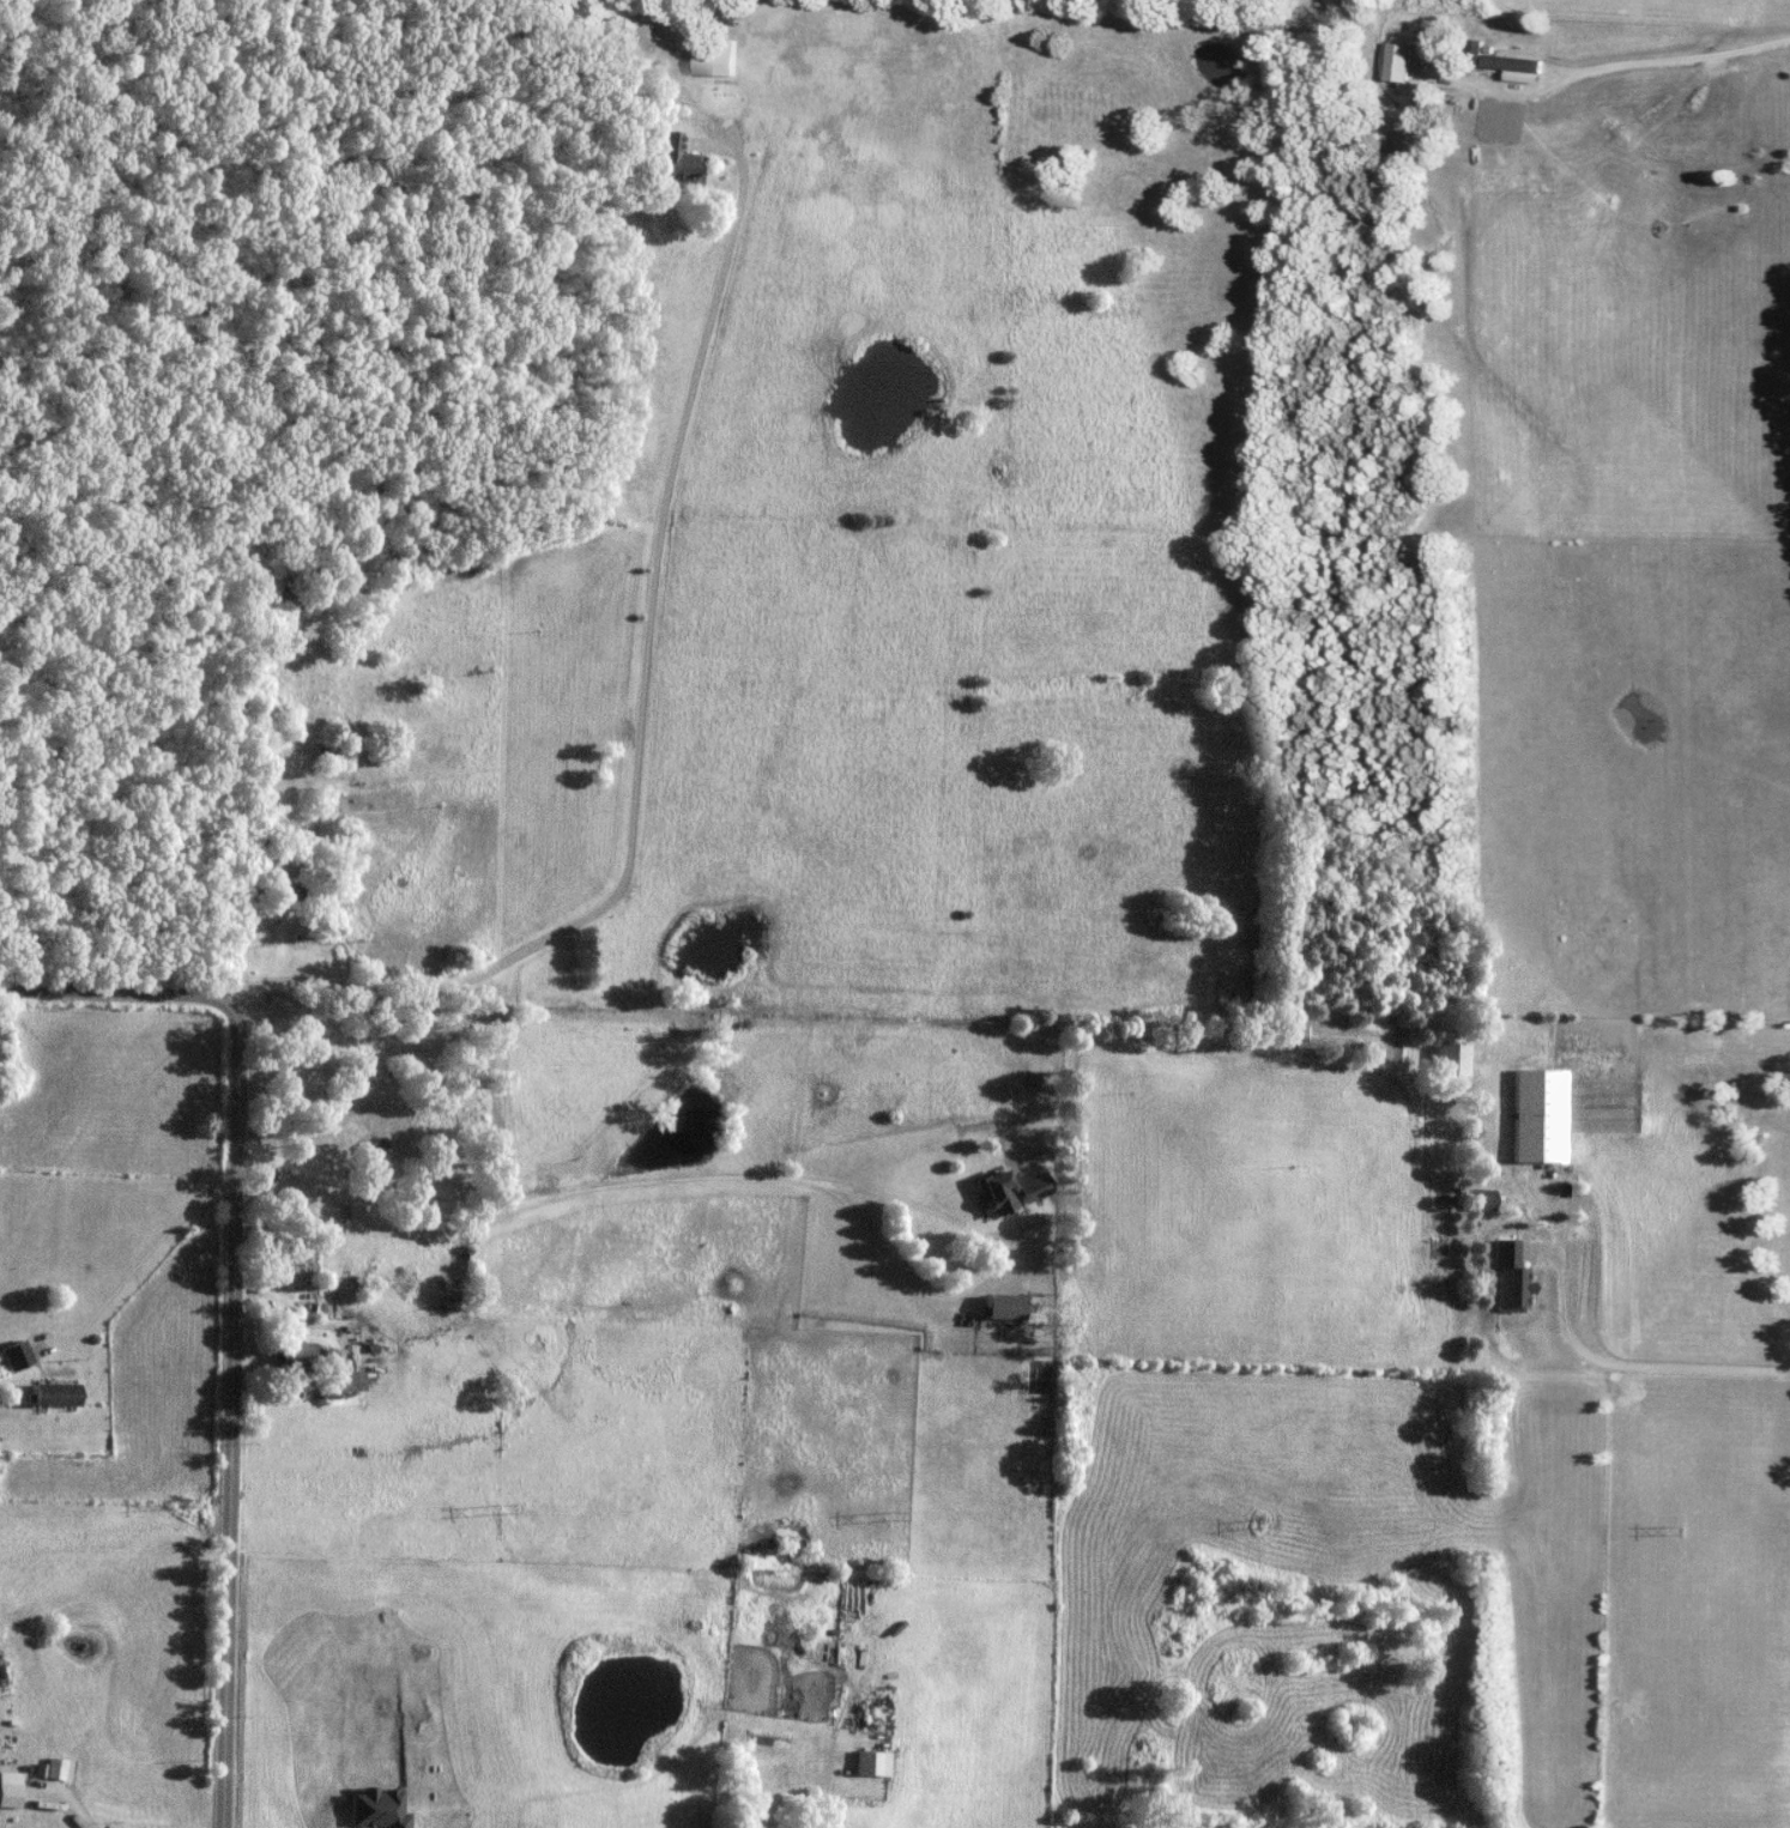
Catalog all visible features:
building: (1472, 55)
building: (720, 56)
road: (1632, 60)
building: (1397, 62)
building: (1512, 63)
building: (669, 161)
road: (636, 712)
building: (264, 830)
building: (286, 886)
road: (241, 942)
road: (116, 987)
building: (1449, 1057)
building: (339, 1112)
road: (617, 1186)
building: (1010, 1190)
road: (132, 1263)
building: (1003, 1306)
building: (292, 1352)
building: (16, 1354)
road: (1619, 1362)
building: (337, 1382)
building: (53, 1393)
road: (230, 1414)
power tower: (193, 1495)
power tower: (909, 1507)
power tower: (1266, 1520)
power tower: (1694, 1529)
building: (872, 1762)
building: (10, 1788)
building: (778, 1827)

